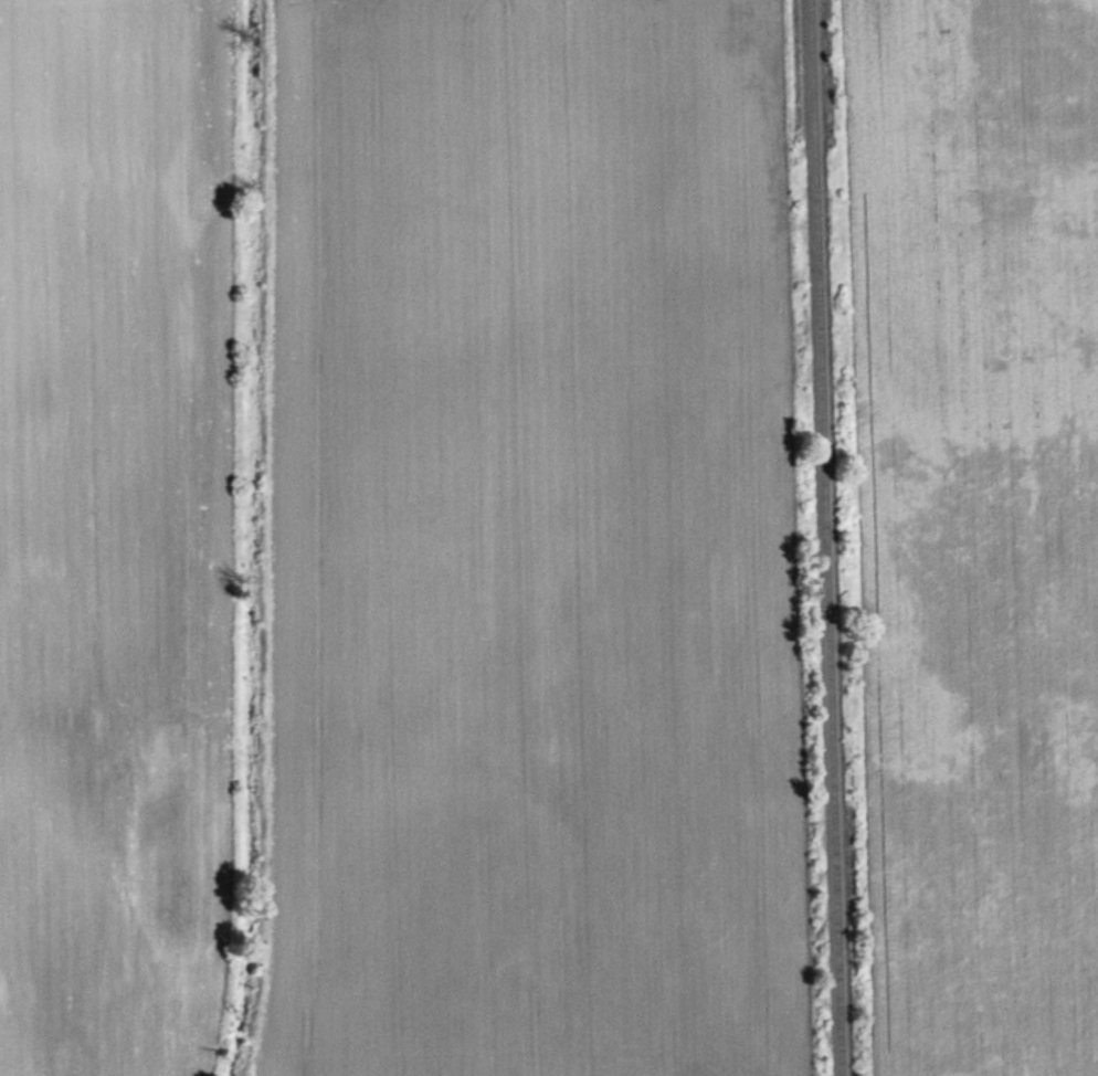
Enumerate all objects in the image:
railway: (826, 538)

